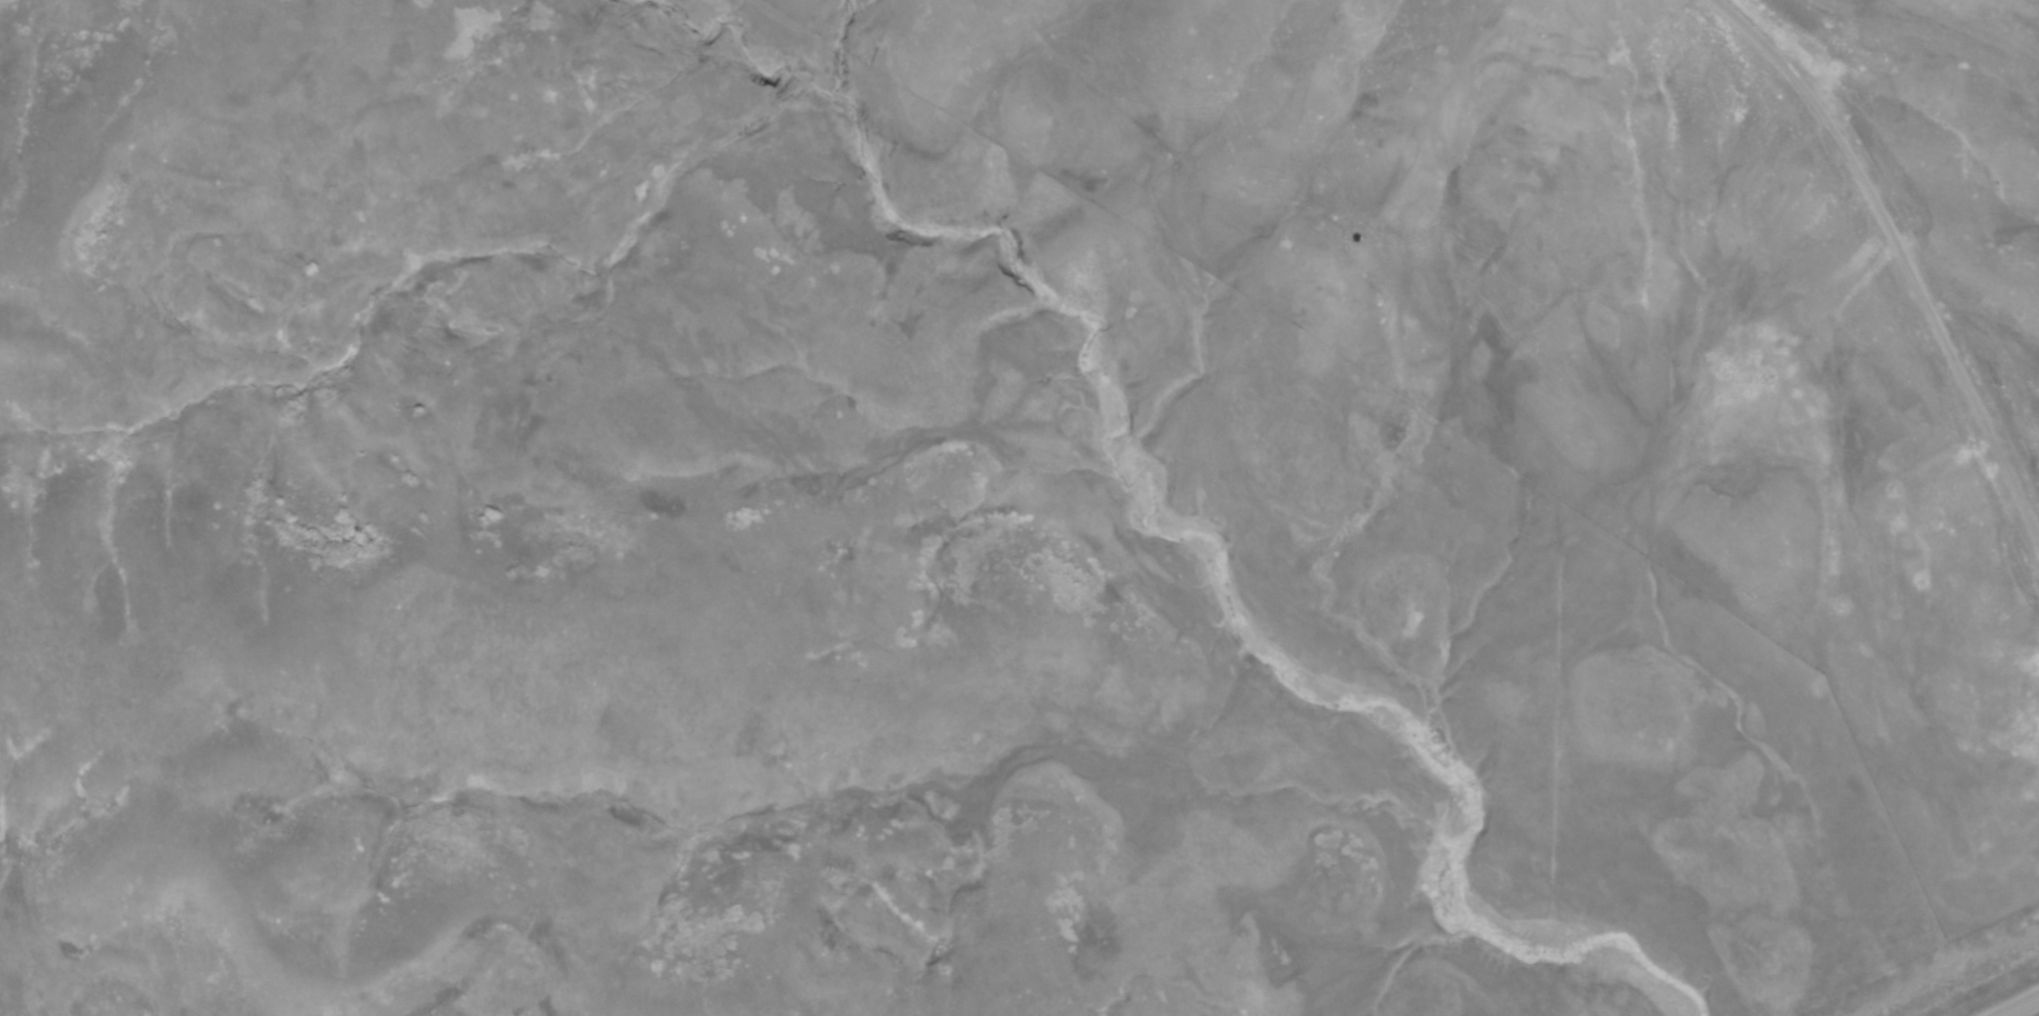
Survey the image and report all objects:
road: (2021, 1006)

